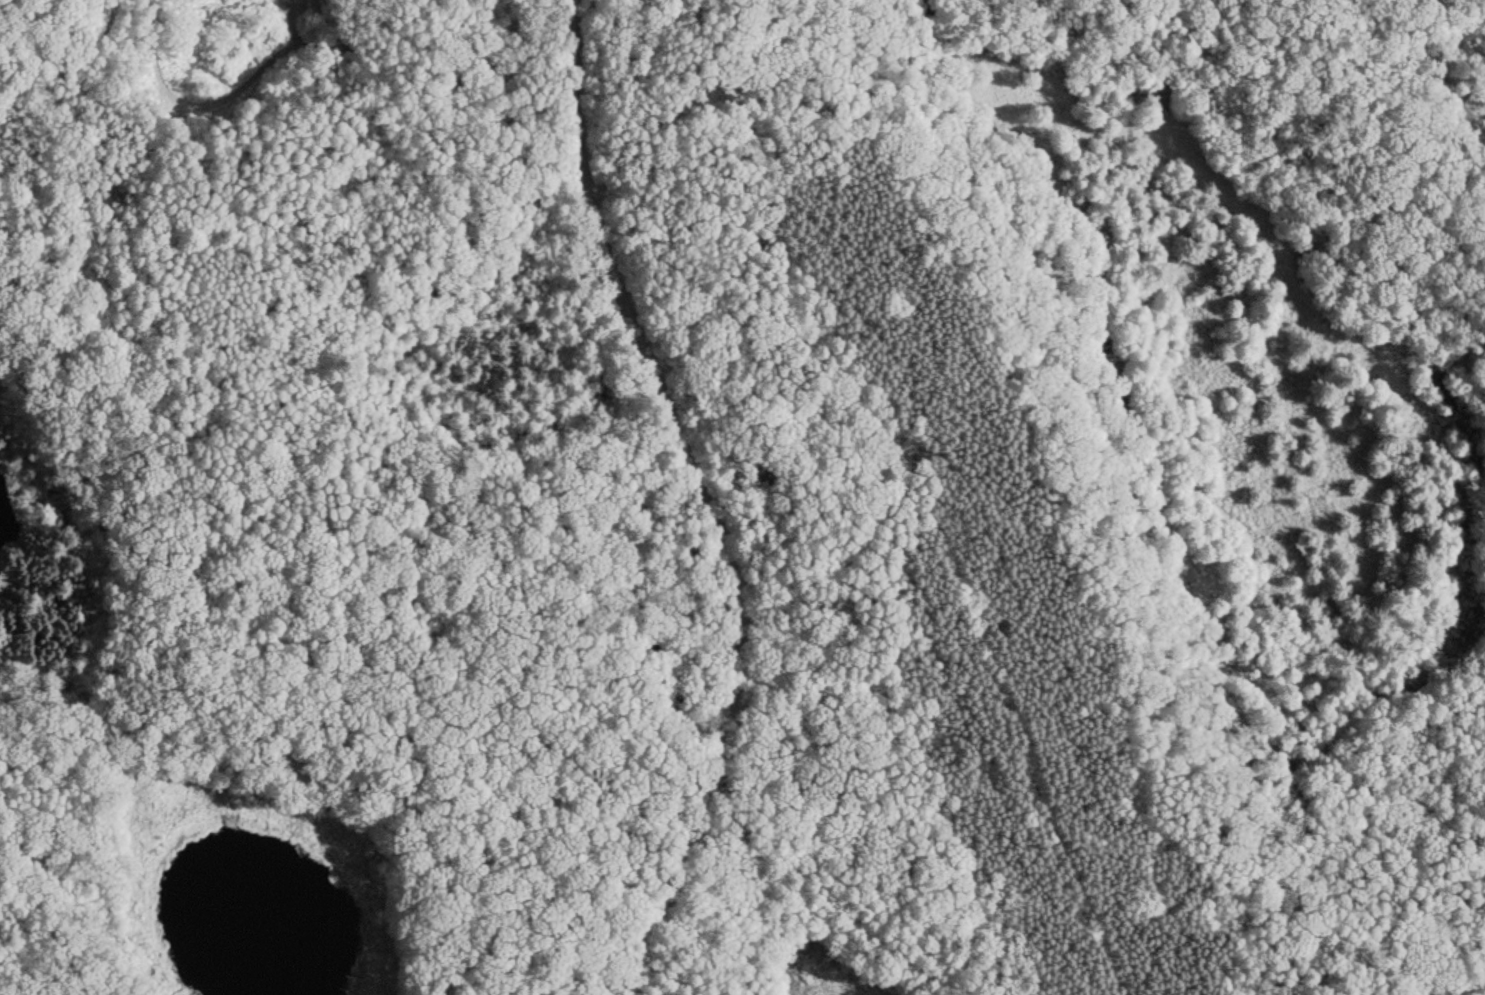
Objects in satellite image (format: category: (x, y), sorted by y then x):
road: (1251, 156)
road: (702, 498)
road: (1180, 782)

